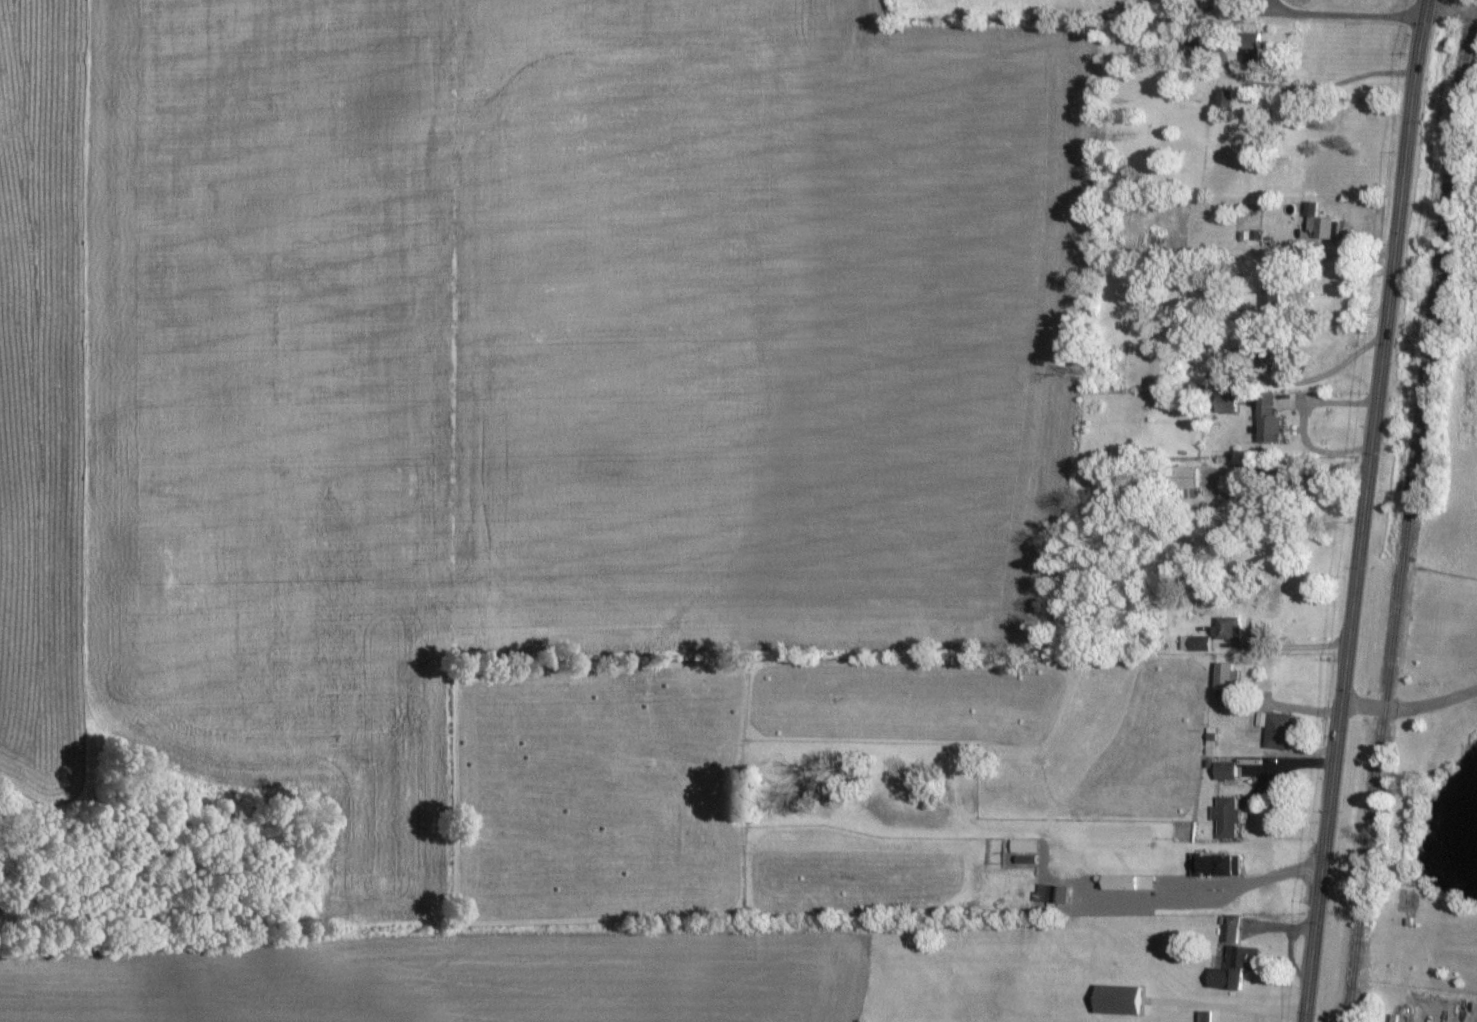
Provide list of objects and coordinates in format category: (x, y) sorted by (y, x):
road: (1450, 12)
building: (1251, 49)
building: (1222, 98)
building: (1319, 223)
building: (1269, 291)
building: (1268, 358)
building: (1224, 404)
building: (1267, 421)
building: (1184, 478)
road: (1361, 510)
railway: (1409, 510)
building: (1226, 628)
building: (1194, 644)
building: (1224, 676)
building: (1274, 730)
building: (1223, 771)
building: (1226, 818)
building: (1021, 848)
building: (1215, 866)
building: (1127, 883)
building: (1052, 895)
building: (1230, 929)
building: (1233, 968)
building: (1115, 1001)
building: (1203, 1016)

